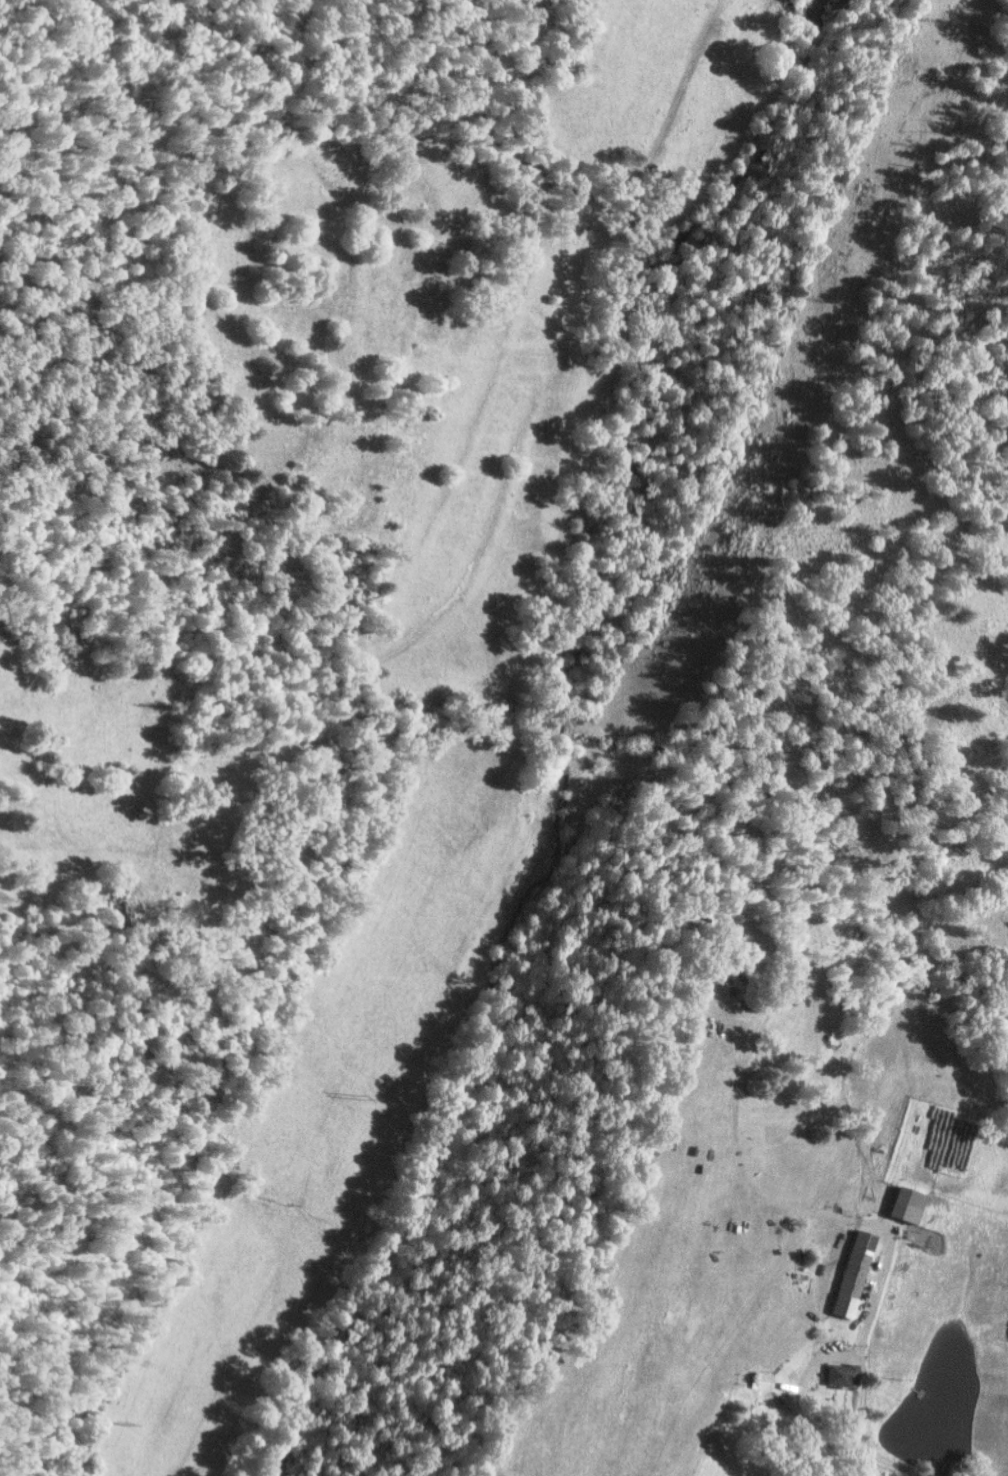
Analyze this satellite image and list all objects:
building: (906, 1204)
building: (853, 1273)
road: (818, 1360)
building: (840, 1375)
building: (760, 1380)
road: (897, 1462)

